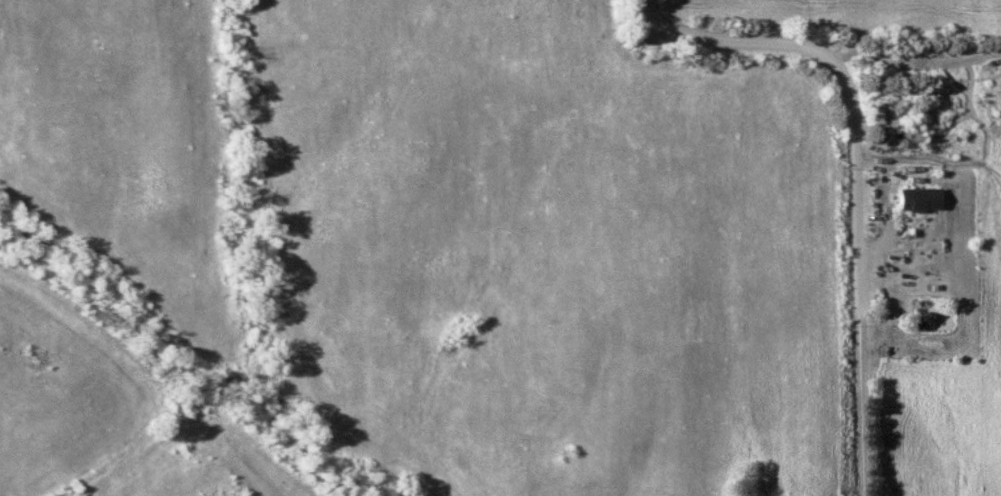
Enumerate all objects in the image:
road: (853, 171)
building: (922, 199)

